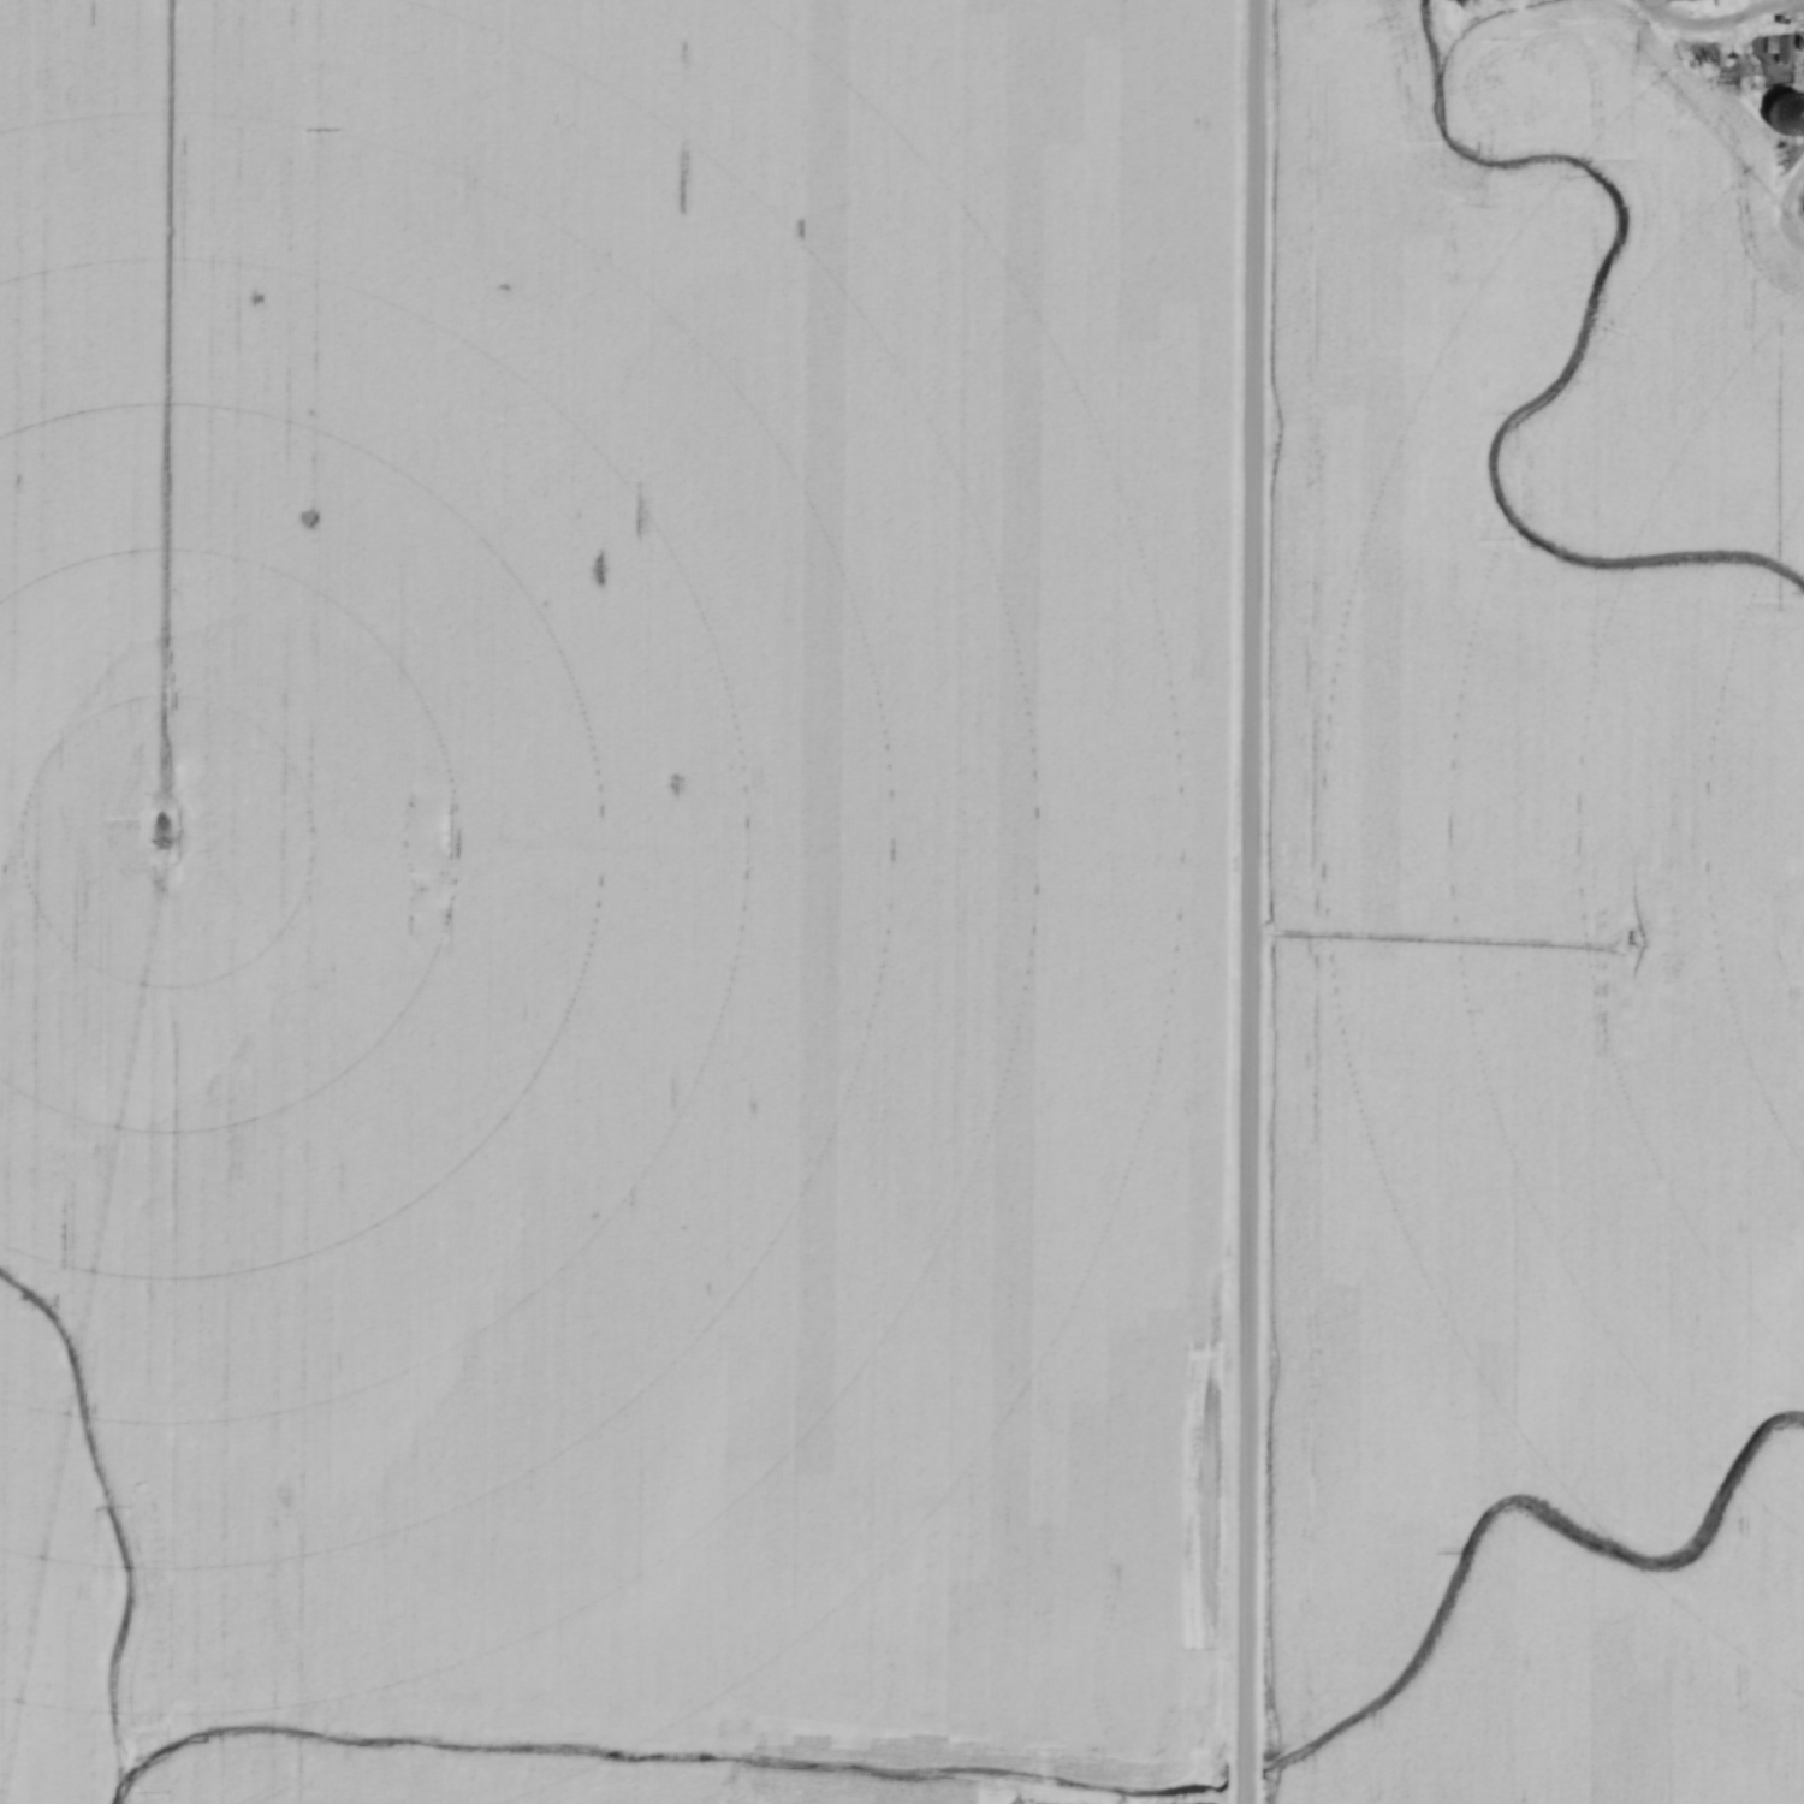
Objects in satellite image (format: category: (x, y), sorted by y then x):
building: (1786, 47)
building: (1791, 105)
building: (1803, 209)
road: (1248, 902)

